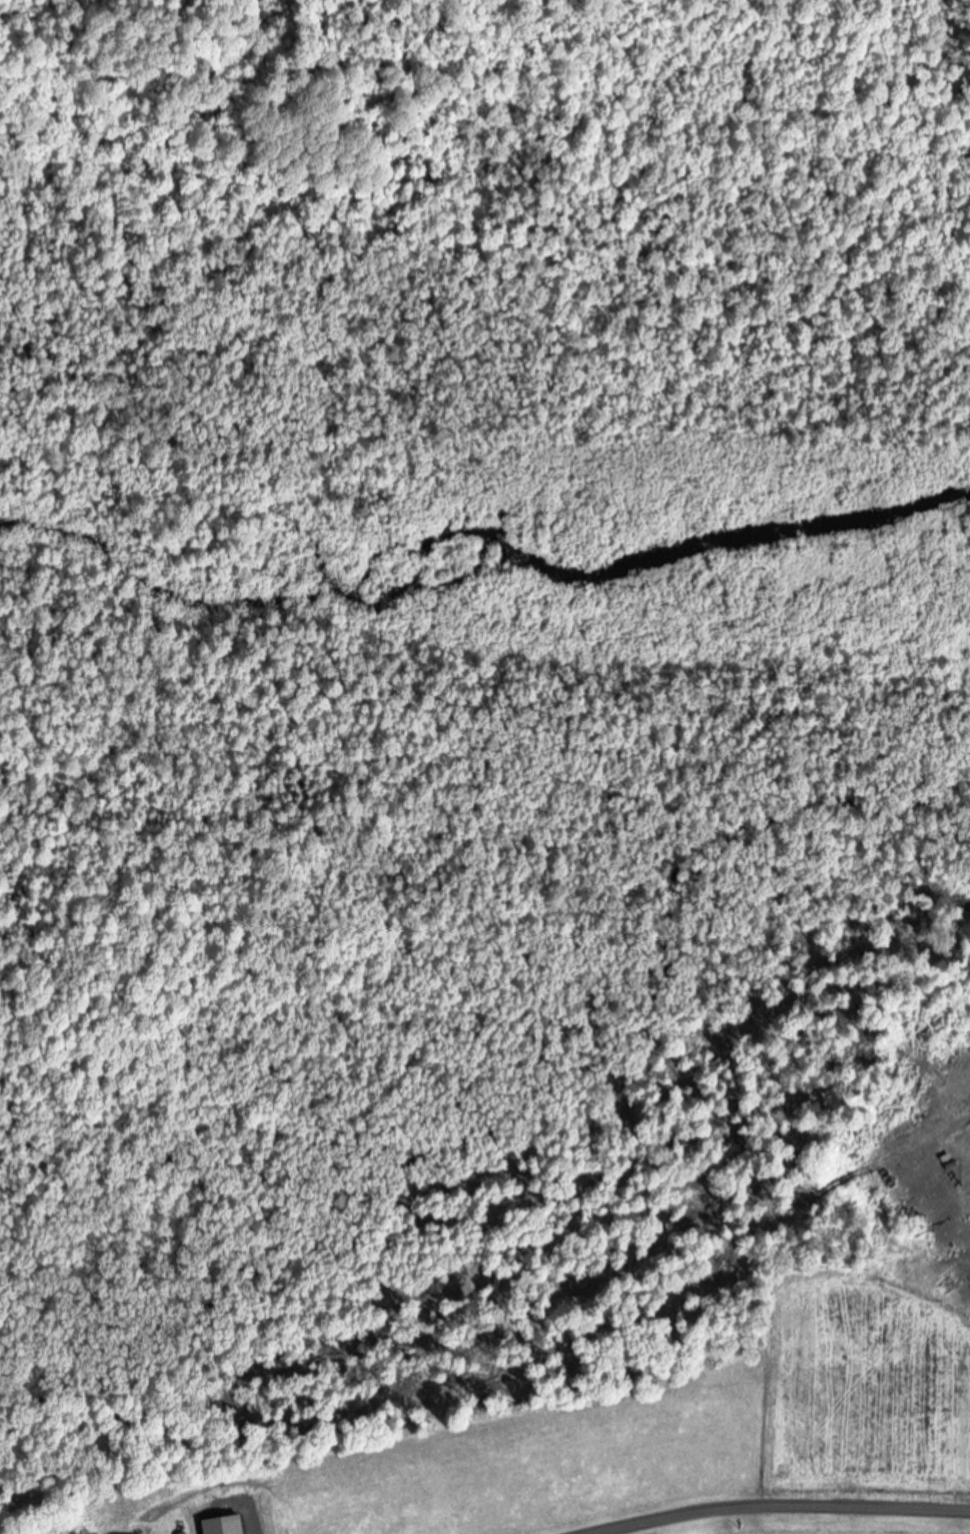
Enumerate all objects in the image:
road: (786, 1507)

